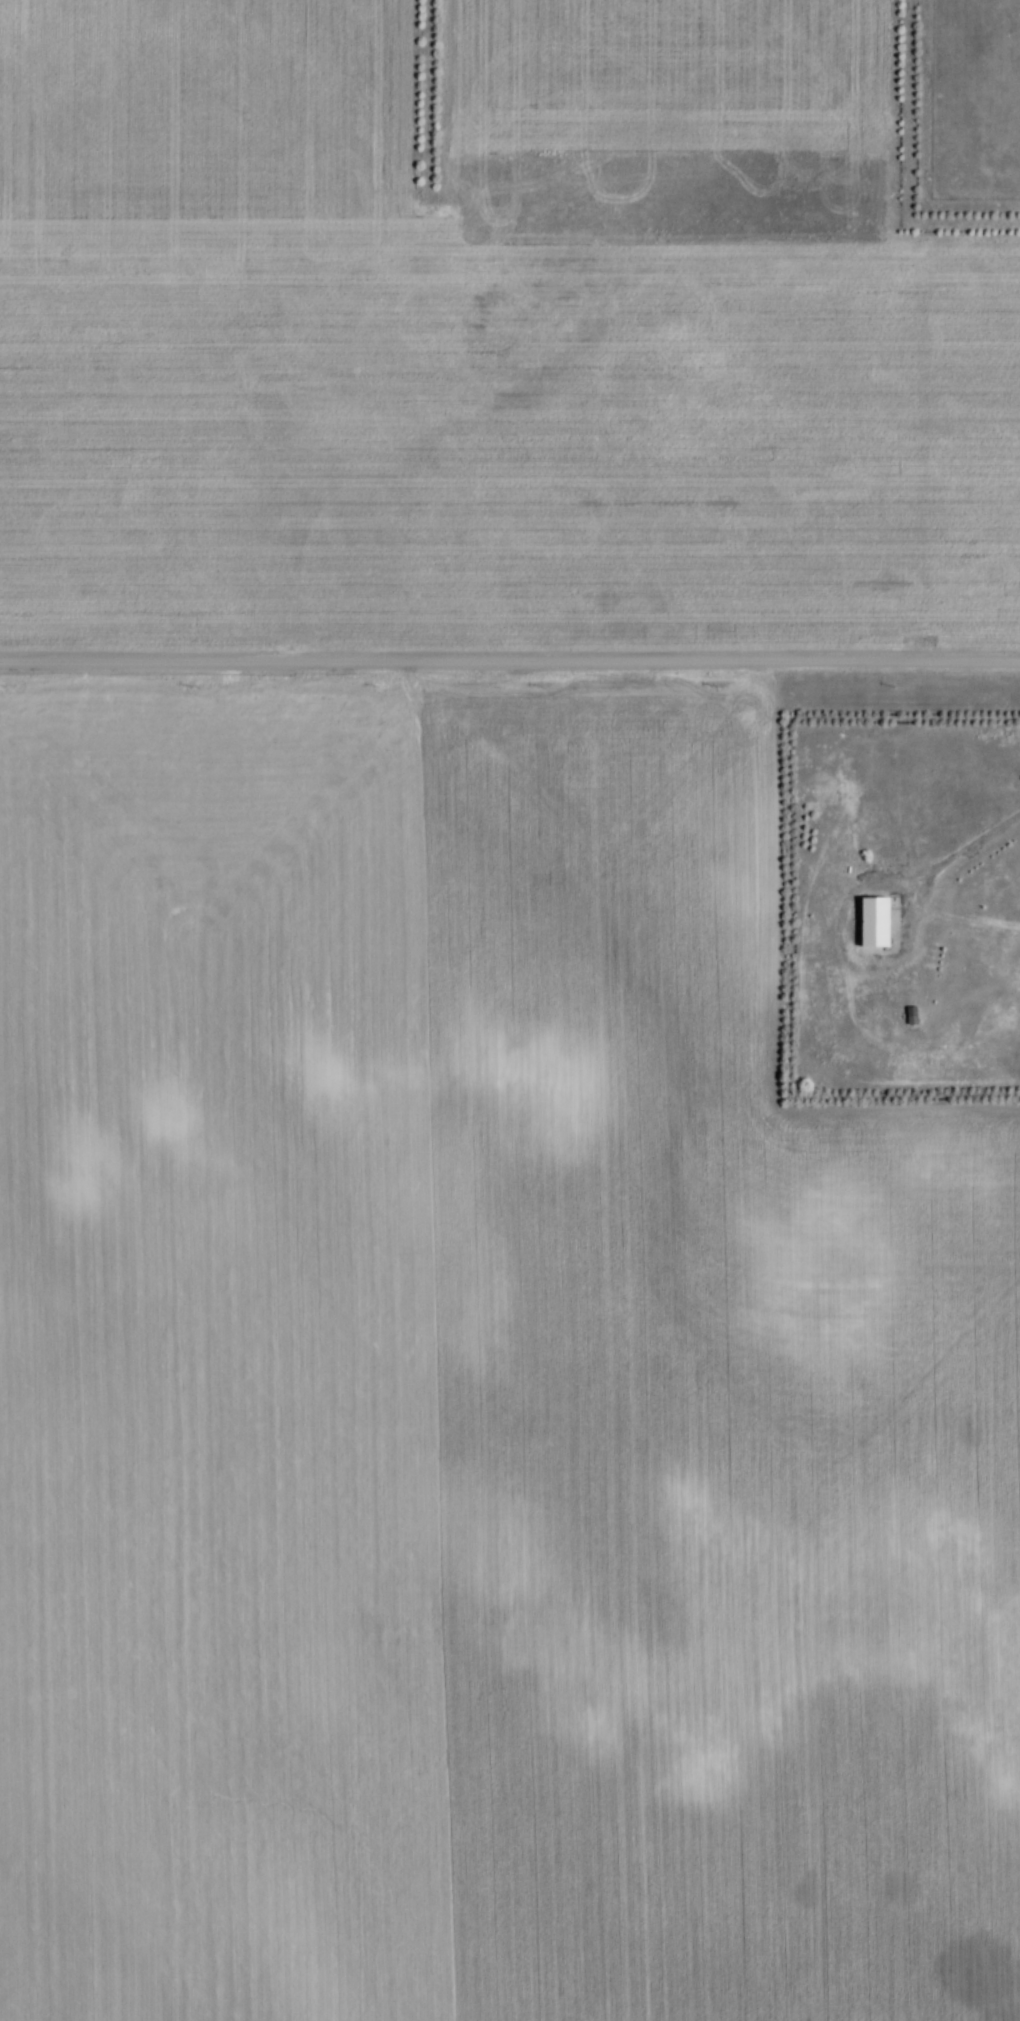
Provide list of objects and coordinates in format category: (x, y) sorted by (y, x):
crop: (485, 335)
road: (510, 665)
road: (958, 853)
building: (872, 925)
crop: (477, 1394)

